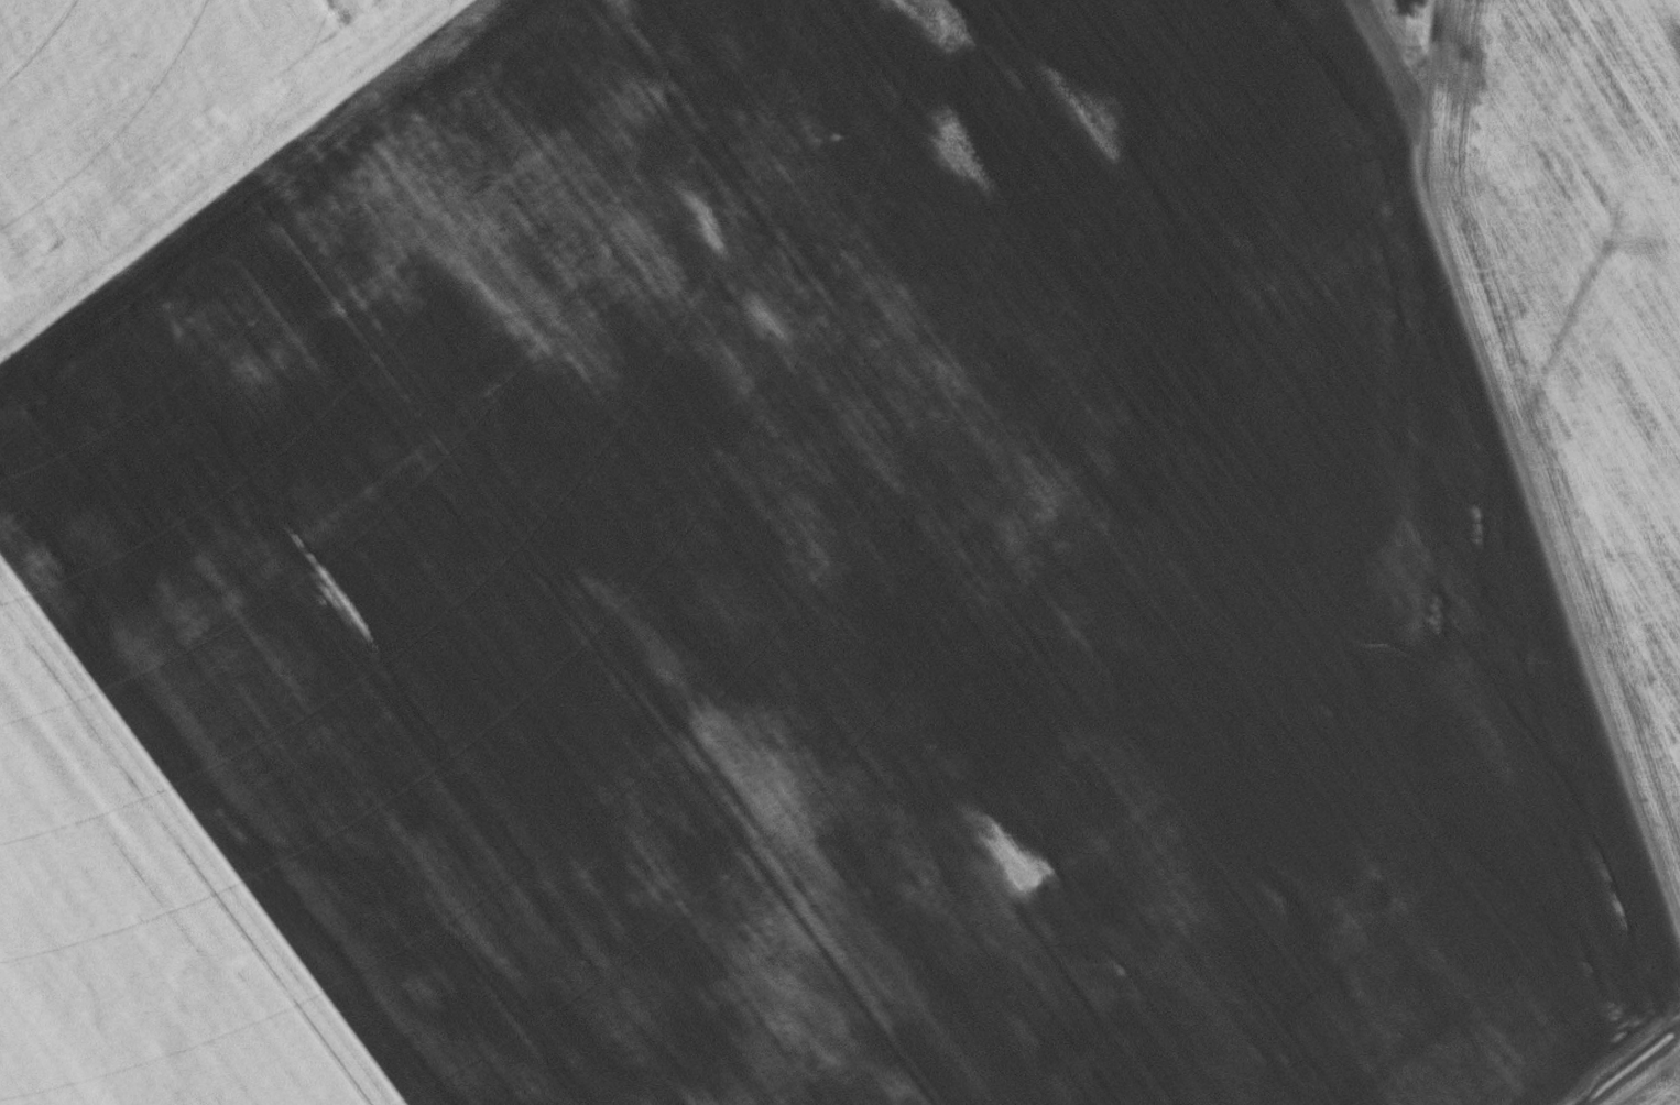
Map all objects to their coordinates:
road: (1641, 1076)

